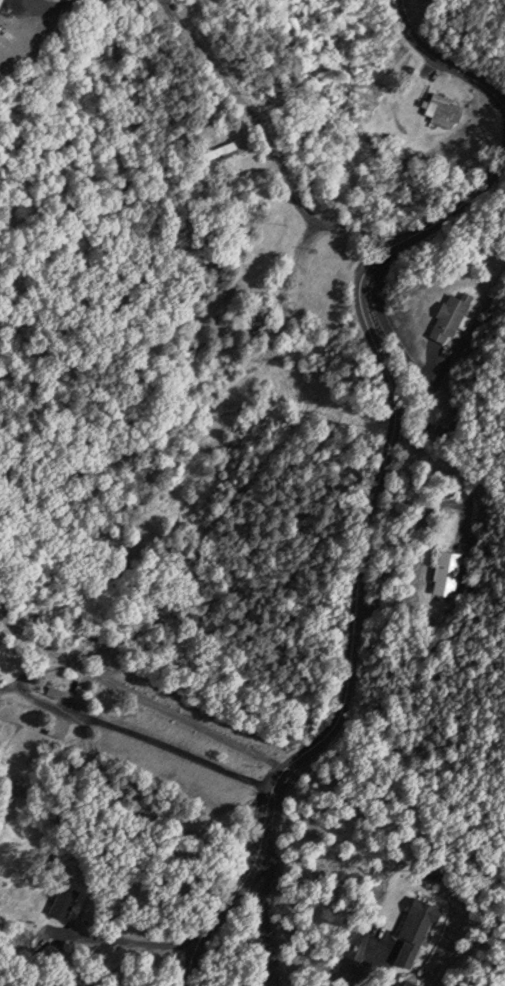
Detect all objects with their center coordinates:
road: (442, 61)
building: (440, 111)
road: (269, 146)
building: (214, 153)
building: (311, 202)
building: (447, 316)
road: (372, 556)
building: (448, 572)
building: (50, 692)
building: (54, 728)
road: (143, 735)
building: (60, 901)
building: (412, 929)
building: (41, 942)
building: (409, 983)

